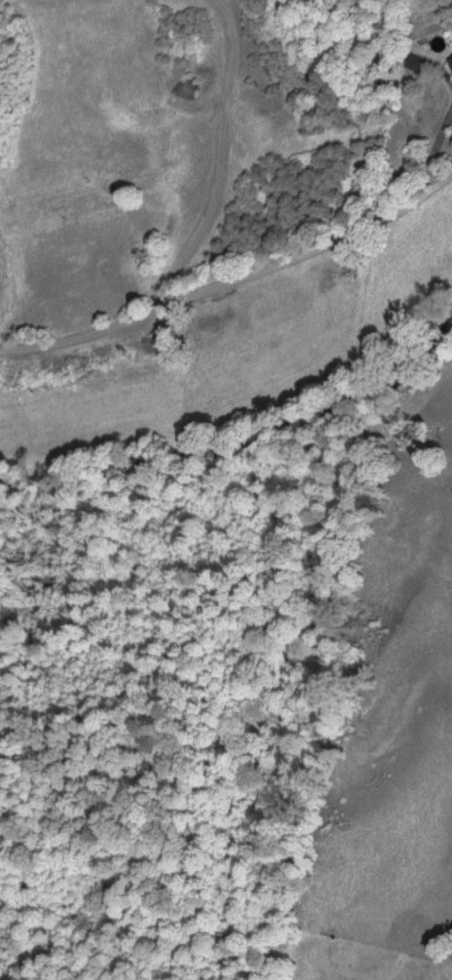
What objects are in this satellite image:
building: (449, 61)
road: (216, 158)
road: (232, 277)

